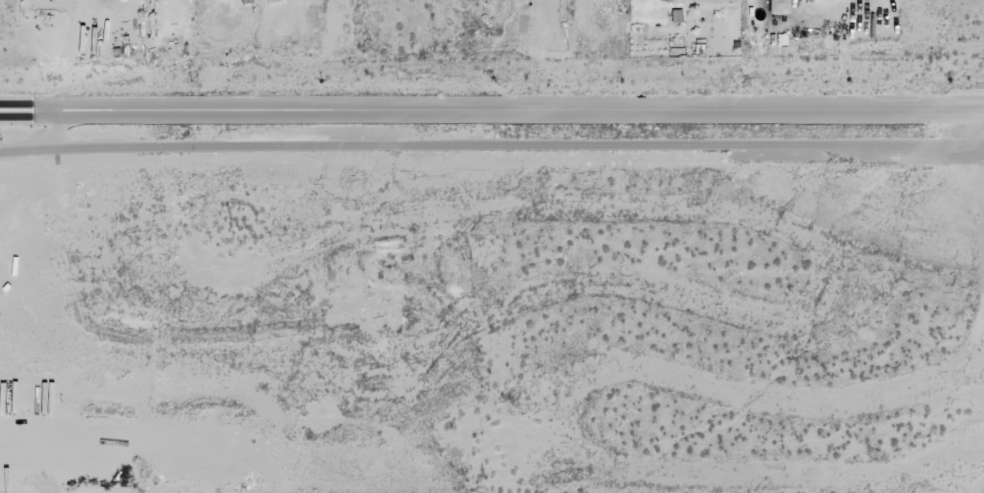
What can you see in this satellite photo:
building: (755, 12)
building: (676, 17)
road: (337, 18)

